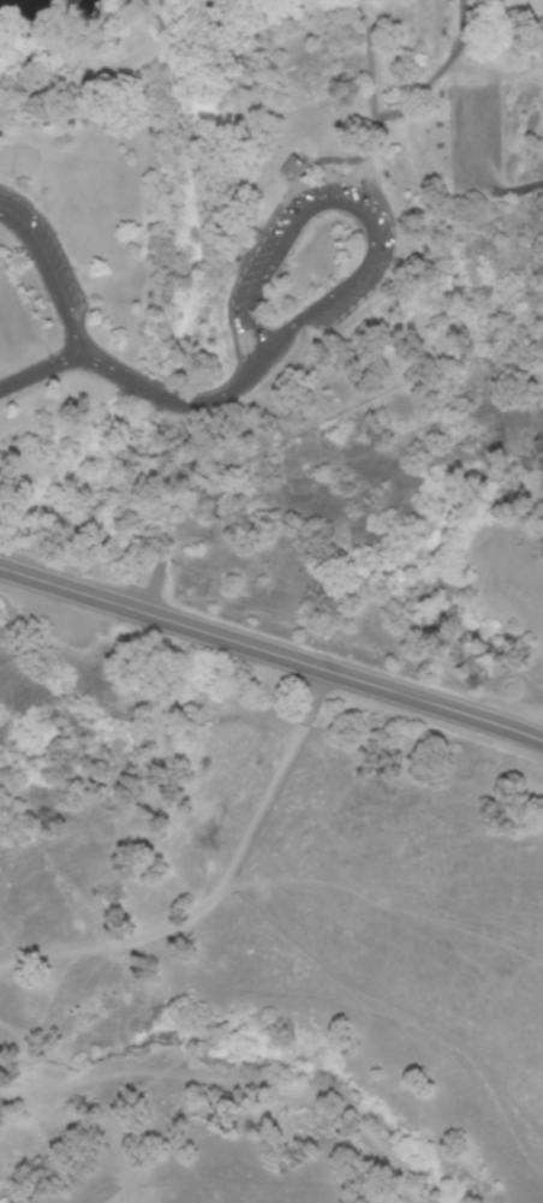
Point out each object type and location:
river: (50, 7)
building: (290, 169)
road: (348, 210)
parking lot: (311, 263)
parking lot: (34, 280)
road: (47, 284)
park: (284, 314)
road: (142, 387)
road: (271, 653)
road: (219, 886)

